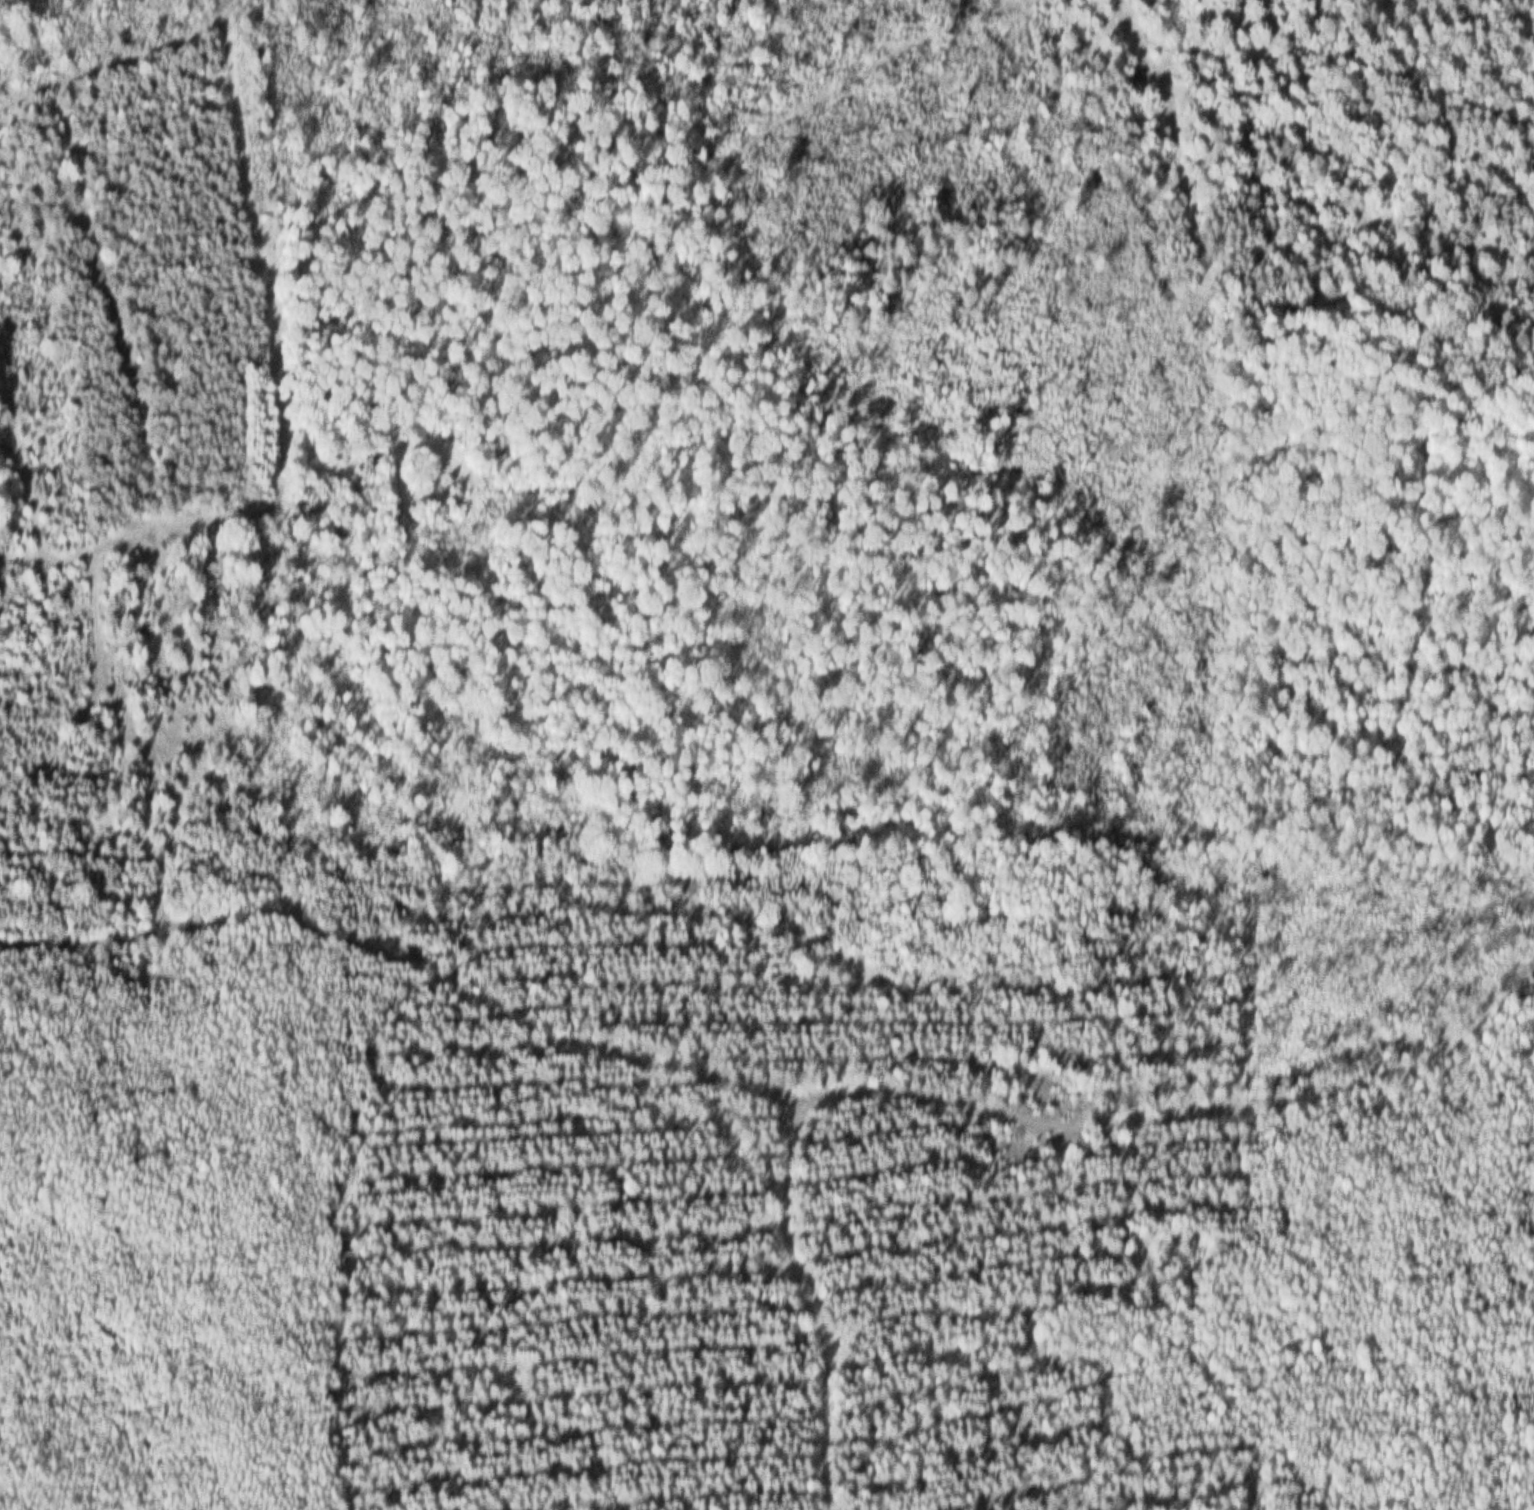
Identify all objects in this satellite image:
road: (403, 971)
road: (972, 1117)

